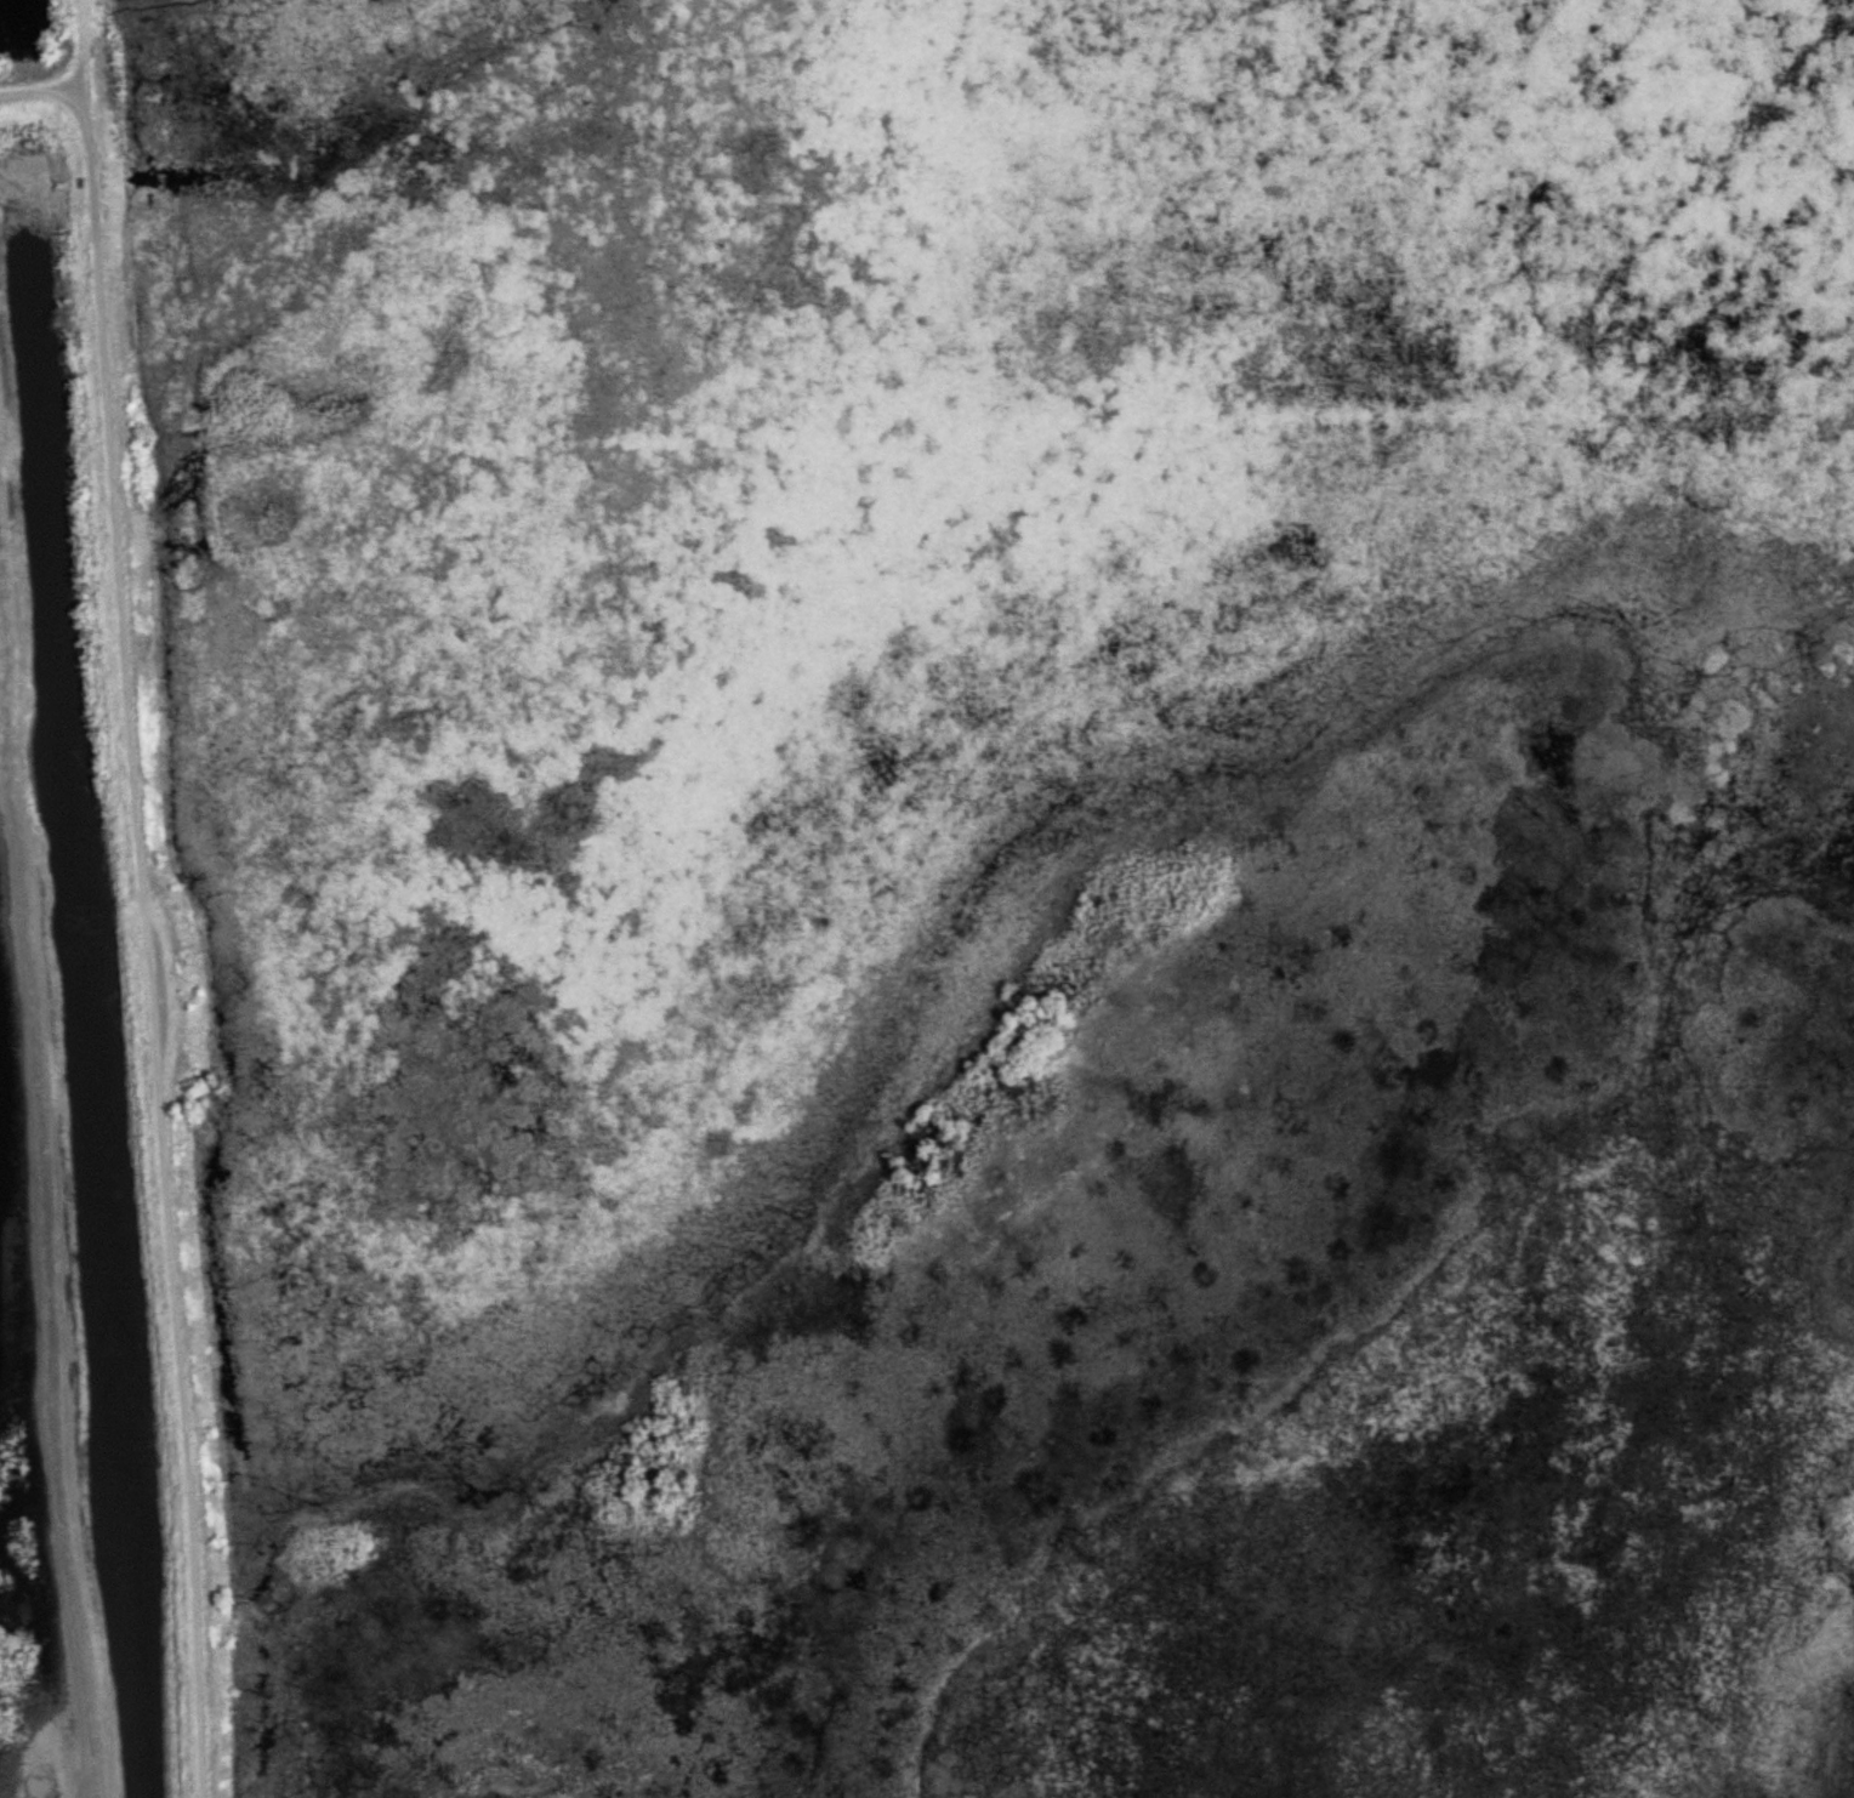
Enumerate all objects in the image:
road: (144, 899)

